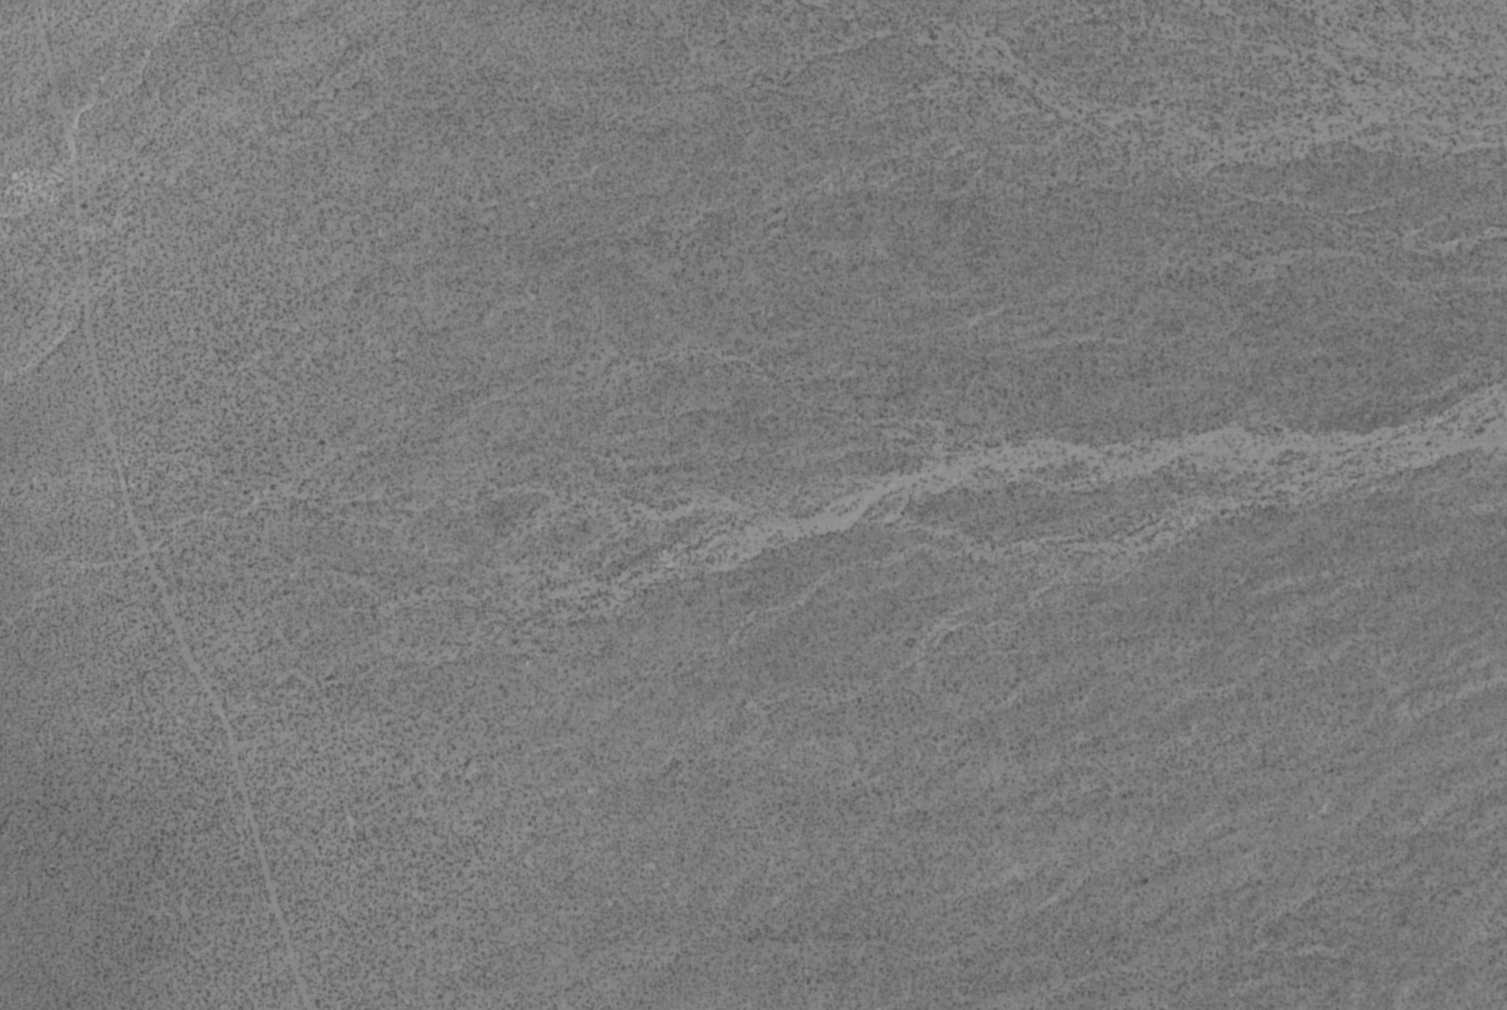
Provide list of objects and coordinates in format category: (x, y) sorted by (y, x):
road: (134, 516)

